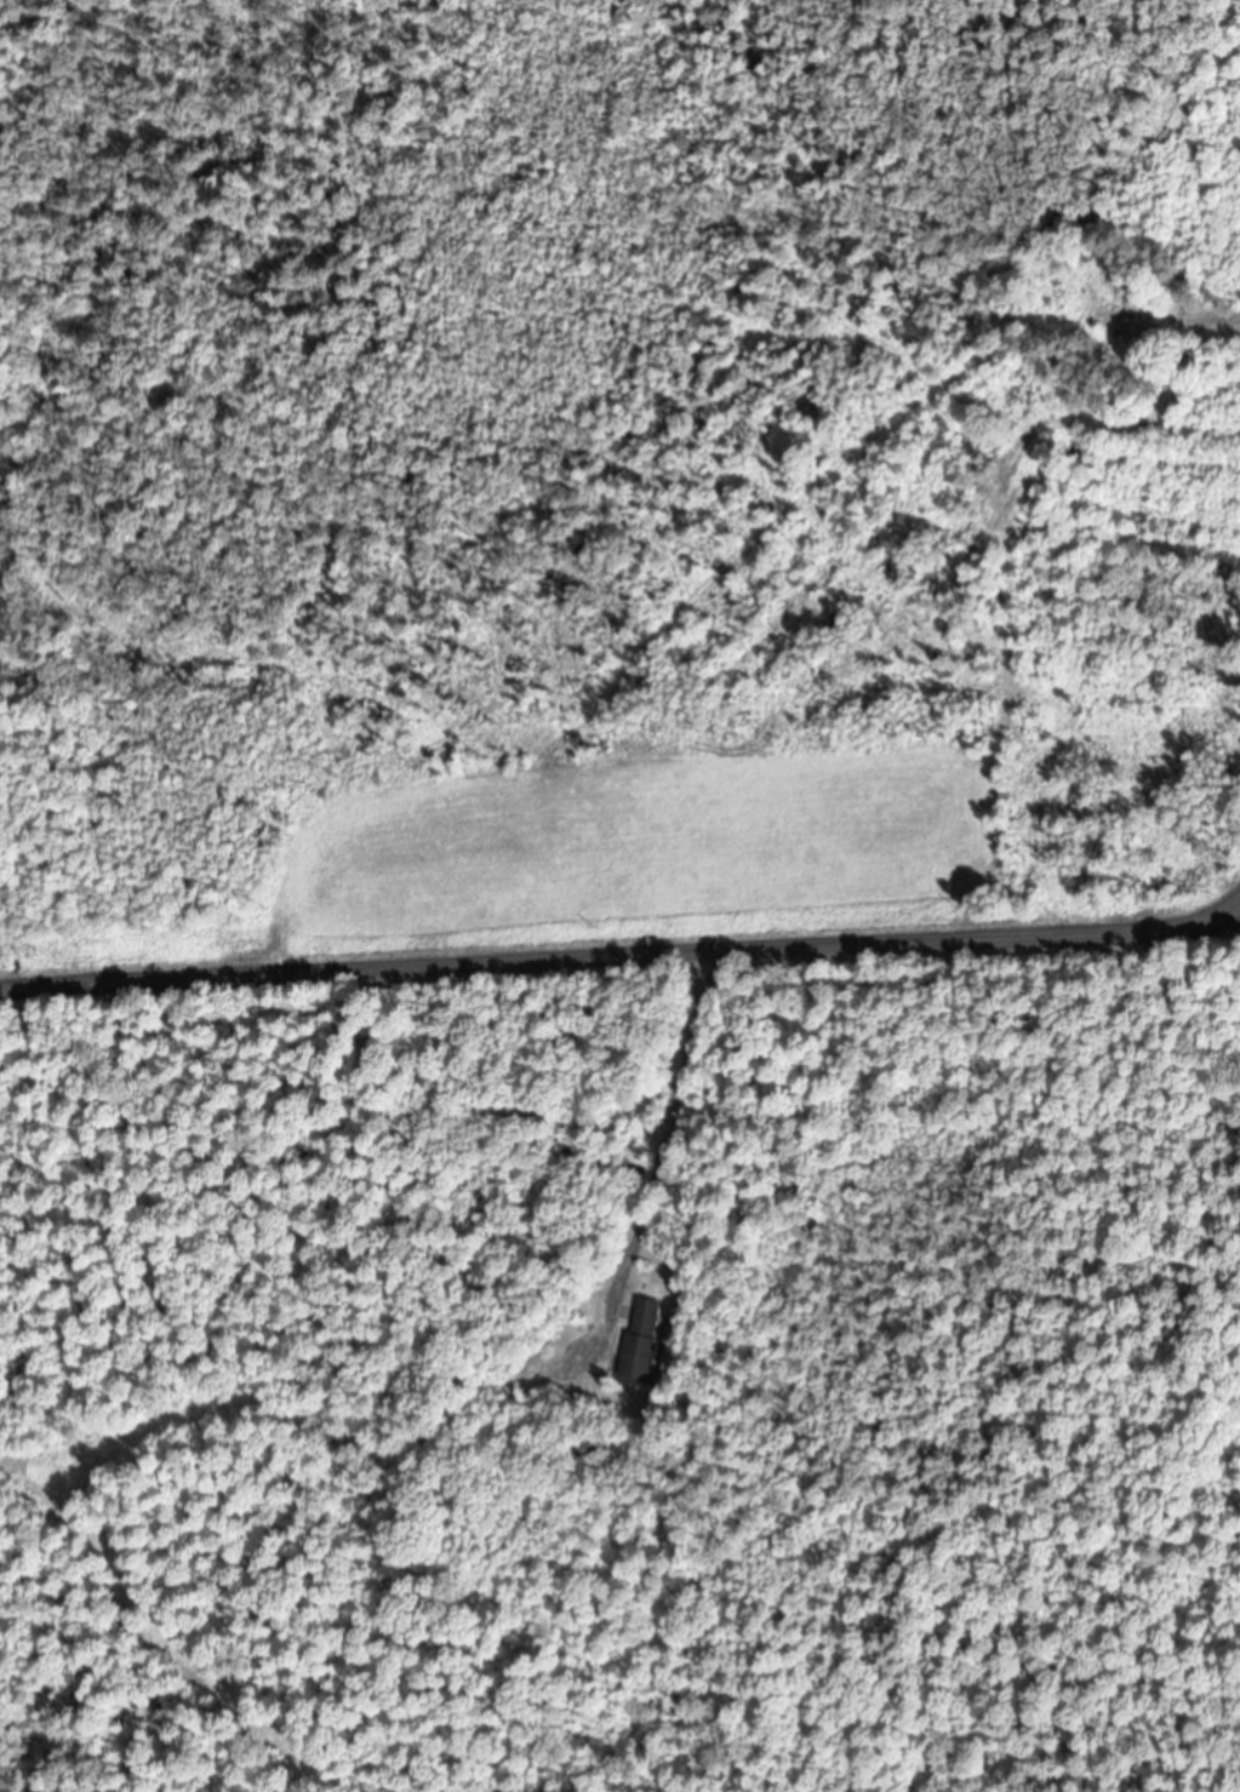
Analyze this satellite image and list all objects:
road: (624, 931)
building: (644, 1342)

